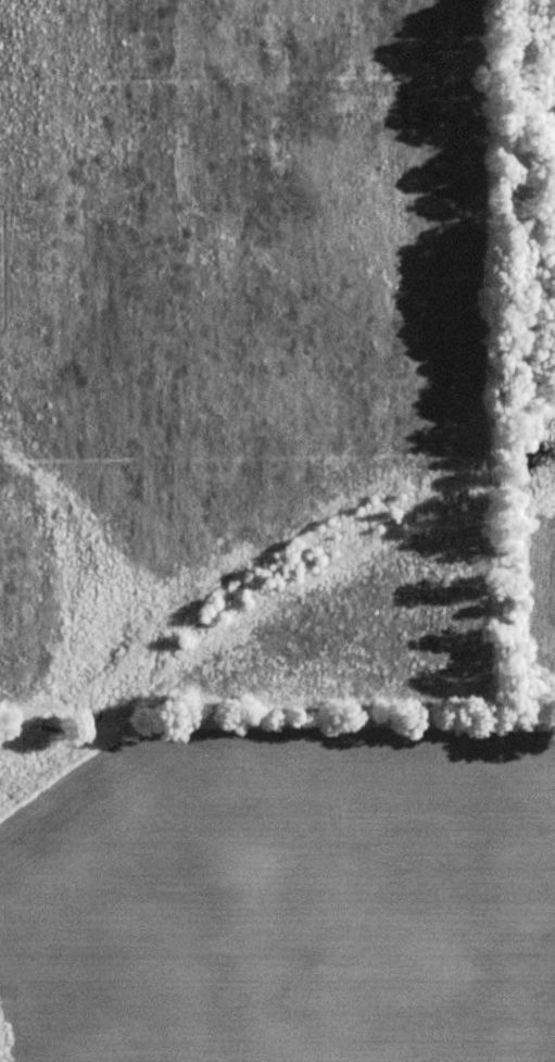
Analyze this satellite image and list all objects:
crop: (281, 898)

